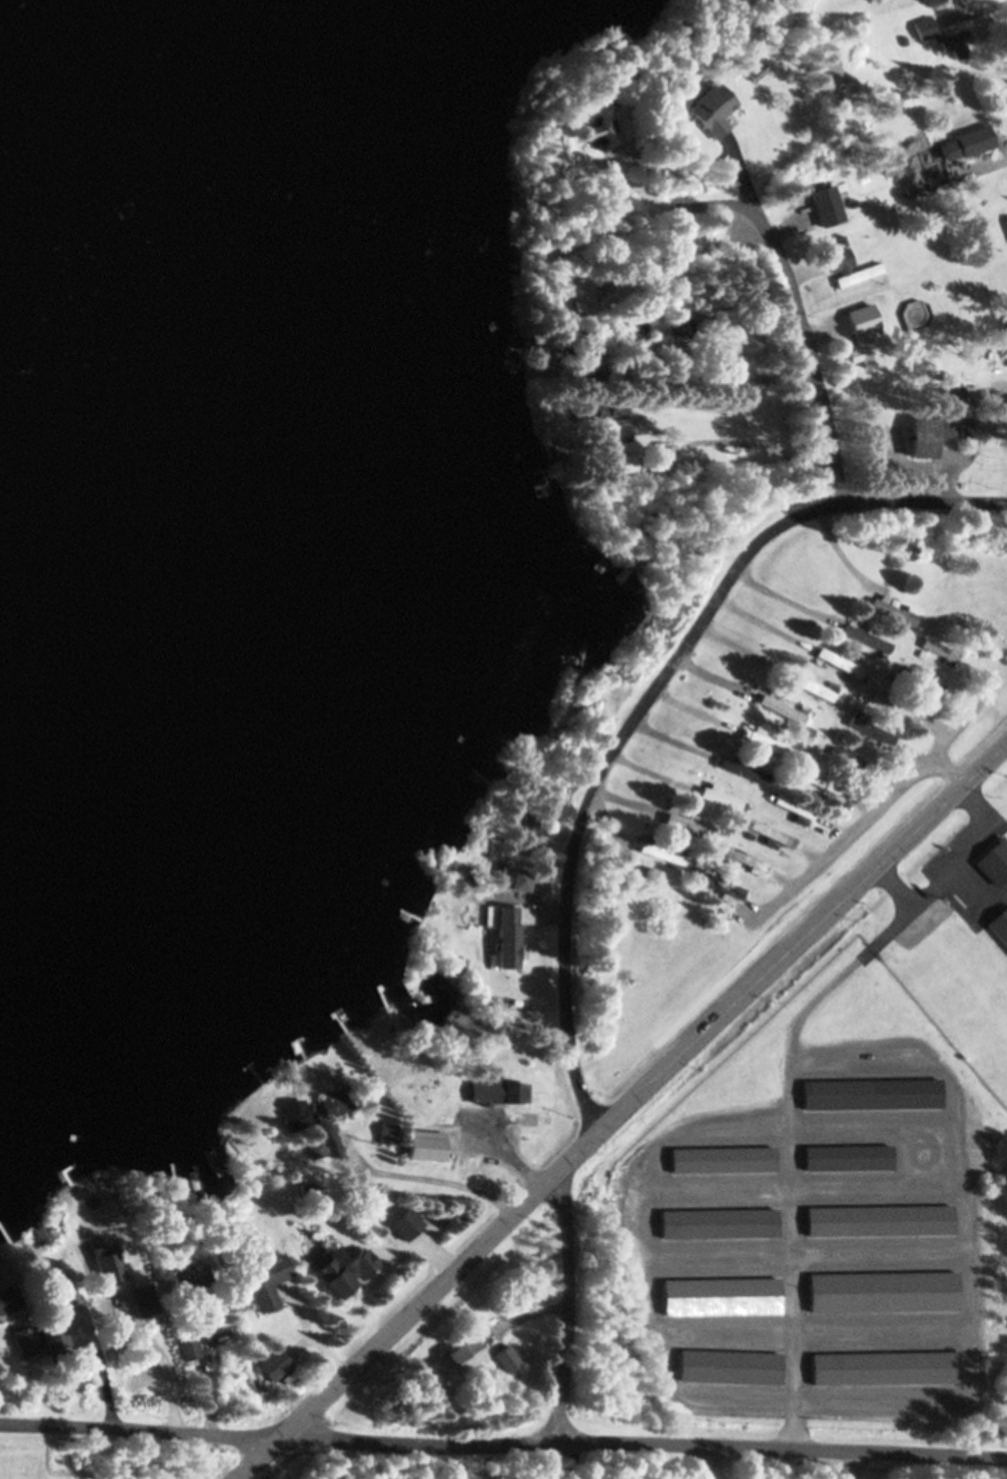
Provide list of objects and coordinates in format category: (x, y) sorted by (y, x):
building: (937, 33)
building: (755, 68)
building: (712, 108)
building: (601, 120)
building: (967, 141)
building: (826, 204)
building: (1006, 221)
building: (841, 240)
building: (847, 266)
building: (580, 295)
road: (797, 312)
building: (680, 322)
building: (641, 327)
building: (864, 335)
building: (730, 347)
building: (972, 354)
building: (591, 360)
building: (939, 372)
building: (951, 395)
building: (610, 409)
building: (933, 432)
building: (612, 435)
building: (659, 452)
building: (621, 461)
building: (694, 472)
building: (890, 610)
building: (827, 619)
building: (865, 638)
building: (938, 649)
building: (837, 661)
building: (892, 677)
building: (919, 677)
building: (808, 685)
building: (837, 692)
road: (644, 699)
building: (891, 703)
building: (780, 707)
building: (802, 707)
building: (867, 727)
building: (805, 729)
building: (828, 738)
building: (767, 740)
building: (845, 755)
building: (742, 769)
road: (943, 770)
building: (817, 782)
building: (719, 796)
road: (875, 805)
building: (792, 806)
building: (688, 823)
building: (529, 828)
building: (769, 832)
building: (662, 852)
building: (745, 859)
building: (994, 860)
building: (725, 863)
building: (646, 872)
building: (523, 876)
building: (720, 886)
building: (1000, 924)
building: (517, 967)
building: (460, 969)
building: (484, 1093)
building: (514, 1093)
building: (872, 1094)
building: (336, 1102)
road: (617, 1106)
building: (296, 1115)
building: (384, 1133)
building: (314, 1147)
building: (424, 1147)
building: (848, 1157)
building: (723, 1159)
building: (305, 1191)
building: (146, 1194)
building: (197, 1194)
building: (92, 1218)
building: (878, 1220)
building: (718, 1223)
building: (403, 1225)
building: (43, 1232)
building: (342, 1270)
building: (184, 1277)
building: (262, 1280)
building: (880, 1292)
building: (719, 1296)
building: (8, 1300)
road: (566, 1306)
building: (53, 1315)
building: (21, 1339)
building: (185, 1347)
building: (503, 1357)
building: (450, 1362)
building: (270, 1365)
building: (727, 1367)
building: (880, 1367)
building: (234, 1368)
road: (136, 1430)
road: (640, 1441)
road: (701, 1461)

